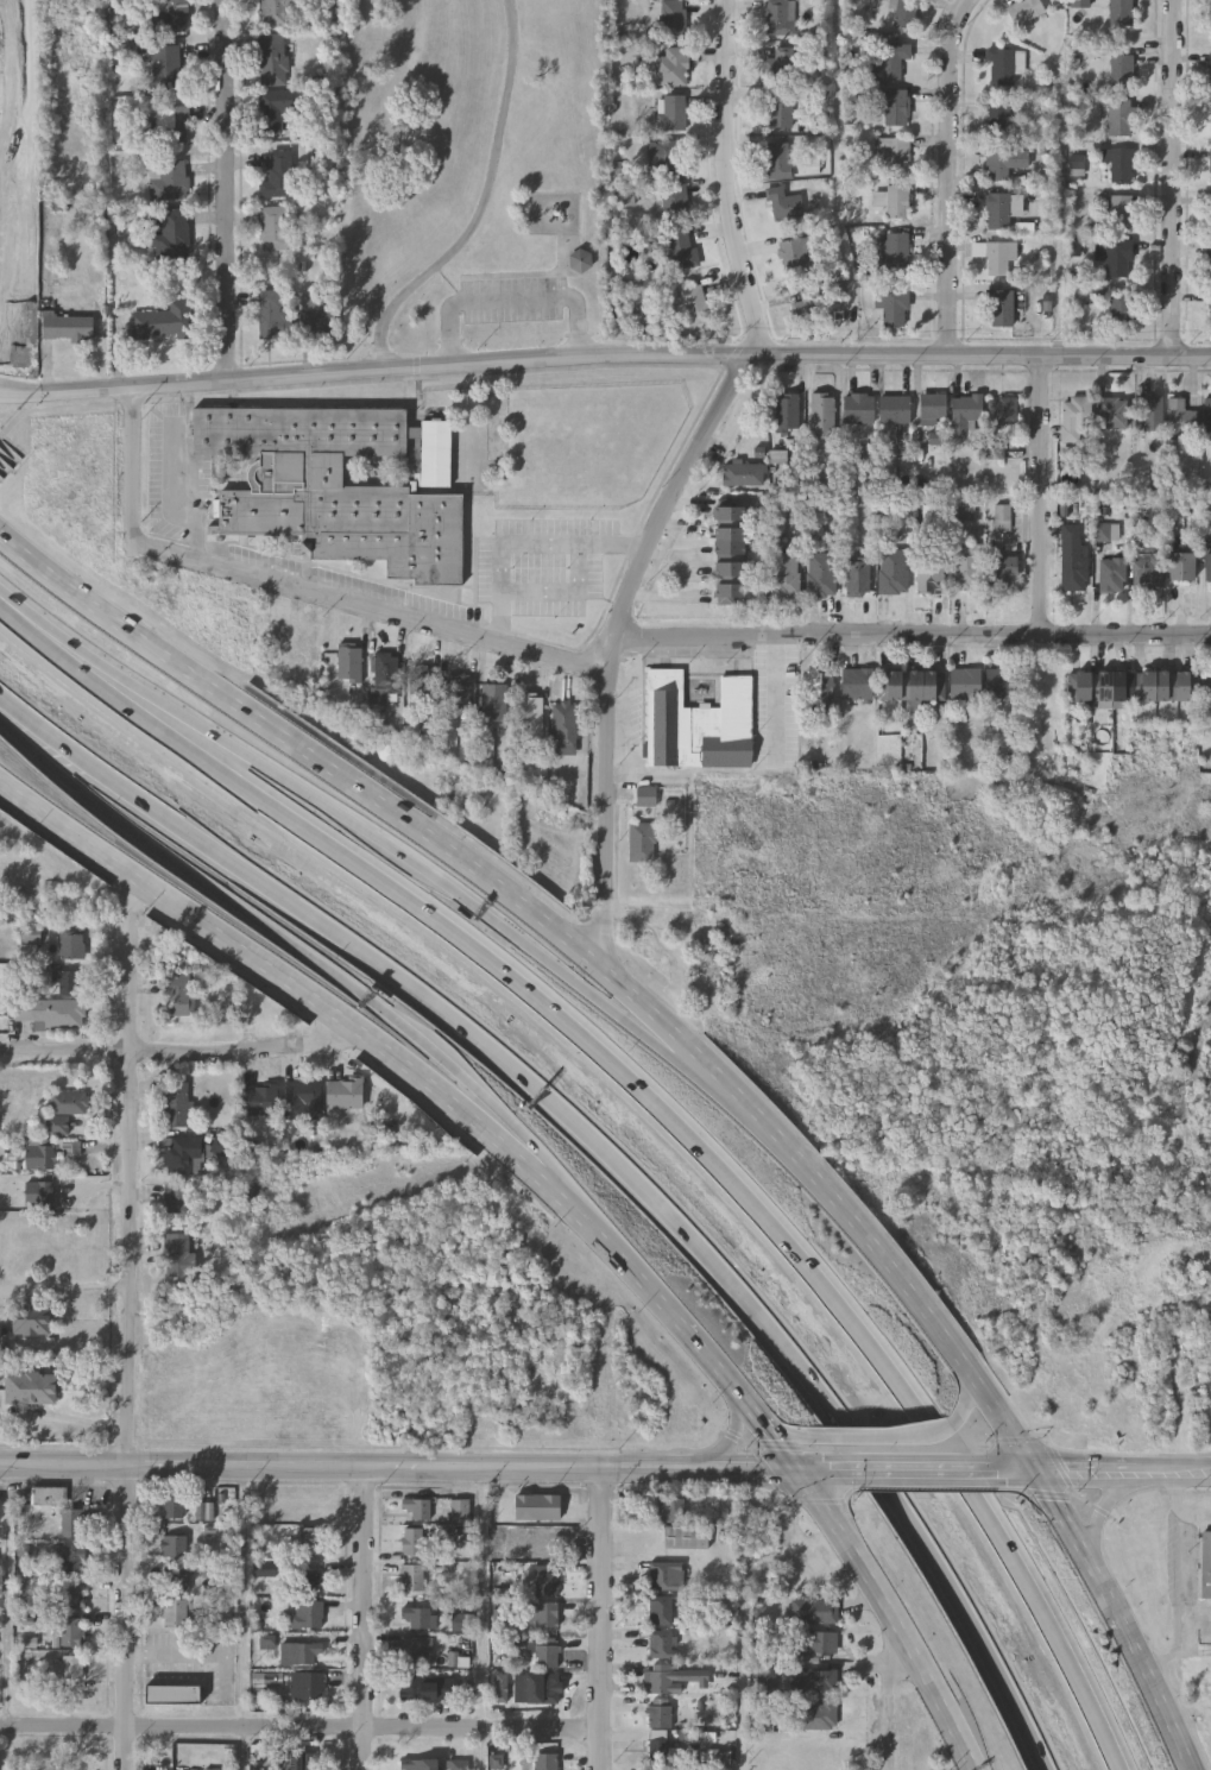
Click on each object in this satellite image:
building: (1023, 12)
building: (1210, 12)
building: (273, 13)
building: (1119, 13)
building: (903, 14)
building: (166, 18)
building: (670, 18)
building: (780, 19)
building: (271, 58)
building: (890, 62)
building: (164, 65)
building: (671, 65)
building: (781, 68)
building: (1003, 68)
building: (1121, 71)
building: (272, 107)
building: (893, 107)
building: (777, 111)
building: (670, 112)
building: (998, 119)
building: (1119, 119)
building: (171, 124)
building: (893, 155)
building: (668, 157)
building: (777, 163)
building: (1003, 164)
building: (1121, 166)
park: (472, 172)
building: (277, 175)
road: (951, 175)
building: (166, 178)
road: (1174, 178)
road: (227, 190)
building: (675, 202)
building: (893, 202)
road: (484, 204)
building: (783, 207)
building: (997, 213)
building: (1119, 214)
building: (273, 227)
building: (172, 233)
building: (679, 251)
building: (891, 252)
building: (793, 259)
building: (579, 260)
building: (998, 260)
building: (1118, 262)
road: (542, 297)
building: (694, 303)
building: (808, 307)
building: (891, 309)
building: (1001, 310)
building: (1119, 314)
building: (271, 316)
building: (163, 321)
building: (317, 322)
building: (65, 326)
road: (450, 336)
road: (604, 359)
building: (934, 408)
building: (858, 409)
building: (895, 409)
road: (64, 410)
building: (966, 410)
building: (1003, 411)
building: (786, 412)
building: (1112, 412)
building: (1152, 412)
building: (1207, 414)
building: (1181, 415)
building: (822, 416)
building: (1076, 418)
road: (18, 460)
road: (135, 468)
road: (7, 470)
road: (680, 474)
building: (743, 474)
building: (340, 485)
road: (1039, 496)
road: (177, 498)
building: (510, 506)
building: (1002, 517)
road: (524, 543)
building: (727, 554)
building: (1073, 559)
building: (967, 566)
building: (1181, 566)
building: (1207, 567)
building: (1001, 568)
building: (931, 569)
building: (1148, 571)
building: (894, 572)
building: (786, 574)
building: (821, 574)
building: (1114, 574)
building: (858, 577)
road: (373, 613)
road: (913, 636)
building: (348, 664)
building: (383, 676)
building: (857, 684)
building: (964, 684)
building: (1001, 684)
building: (912, 685)
building: (1131, 686)
building: (1205, 686)
building: (820, 688)
building: (421, 691)
building: (456, 694)
road: (777, 700)
building: (493, 703)
building: (529, 713)
building: (563, 724)
building: (696, 724)
building: (645, 796)
road: (376, 838)
building: (641, 843)
building: (29, 933)
building: (70, 944)
road: (572, 946)
road: (309, 955)
building: (67, 981)
building: (178, 994)
building: (50, 1012)
road: (177, 1051)
building: (342, 1094)
building: (258, 1098)
building: (301, 1098)
building: (68, 1102)
building: (175, 1103)
road: (654, 1103)
building: (38, 1153)
road: (606, 1154)
building: (181, 1155)
building: (39, 1191)
road: (563, 1202)
building: (177, 1205)
building: (177, 1253)
building: (32, 1317)
road: (130, 1323)
building: (29, 1387)
road: (964, 1388)
road: (793, 1431)
road: (890, 1435)
road: (734, 1438)
road: (425, 1467)
traffic signals: (801, 1469)
road: (920, 1472)
road: (1014, 1472)
traffic signals: (1039, 1472)
road: (1124, 1472)
road: (1111, 1498)
building: (174, 1506)
building: (536, 1507)
building: (415, 1508)
building: (669, 1510)
building: (206, 1511)
building: (459, 1511)
building: (72, 1523)
building: (685, 1537)
building: (311, 1542)
building: (410, 1542)
building: (175, 1545)
building: (541, 1547)
building: (72, 1557)
road: (1179, 1562)
building: (1205, 1566)
building: (264, 1568)
building: (664, 1576)
building: (411, 1579)
building: (177, 1581)
building: (308, 1581)
building: (544, 1583)
building: (70, 1595)
road: (246, 1596)
road: (11, 1598)
road: (481, 1598)
building: (660, 1610)
building: (811, 1612)
building: (176, 1613)
building: (305, 1614)
building: (544, 1615)
road: (362, 1618)
building: (420, 1618)
road: (601, 1618)
road: (1119, 1619)
building: (72, 1631)
building: (814, 1642)
building: (660, 1645)
building: (305, 1650)
building: (415, 1650)
building: (545, 1656)
building: (69, 1668)
building: (661, 1677)
building: (816, 1681)
building: (305, 1687)
building: (428, 1688)
building: (545, 1689)
road: (890, 1693)
building: (171, 1695)
building: (813, 1715)
road: (745, 1720)
road: (299, 1730)
road: (244, 1749)
road: (482, 1750)
building: (797, 1752)
building: (302, 1760)
building: (545, 1762)
building: (417, 1764)
building: (458, 1765)
building: (69, 1769)

